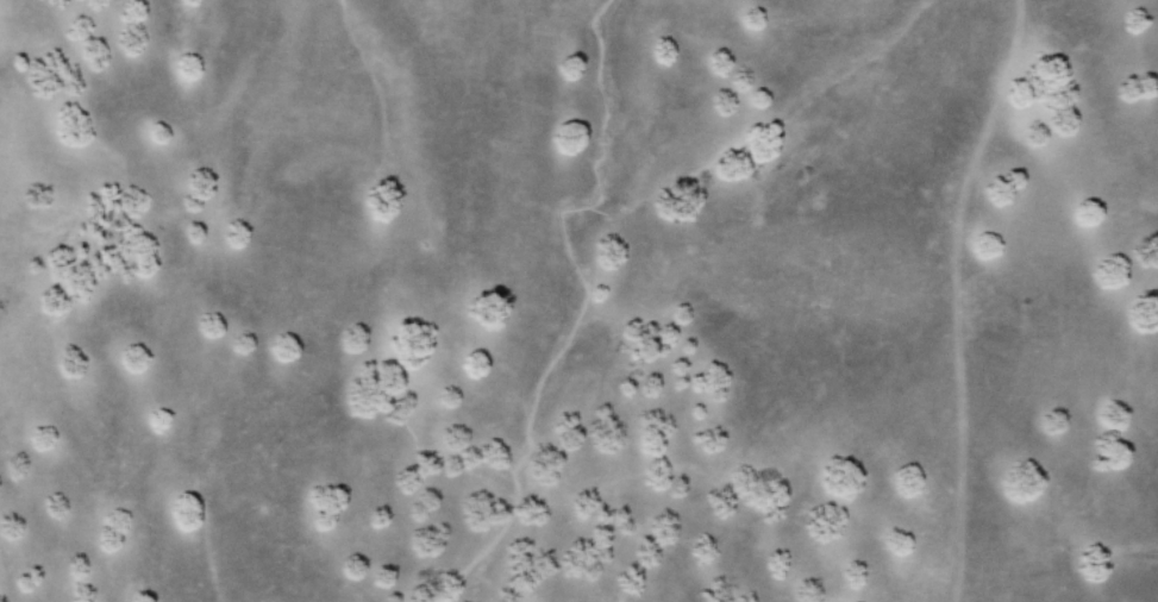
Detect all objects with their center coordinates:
road: (952, 295)

